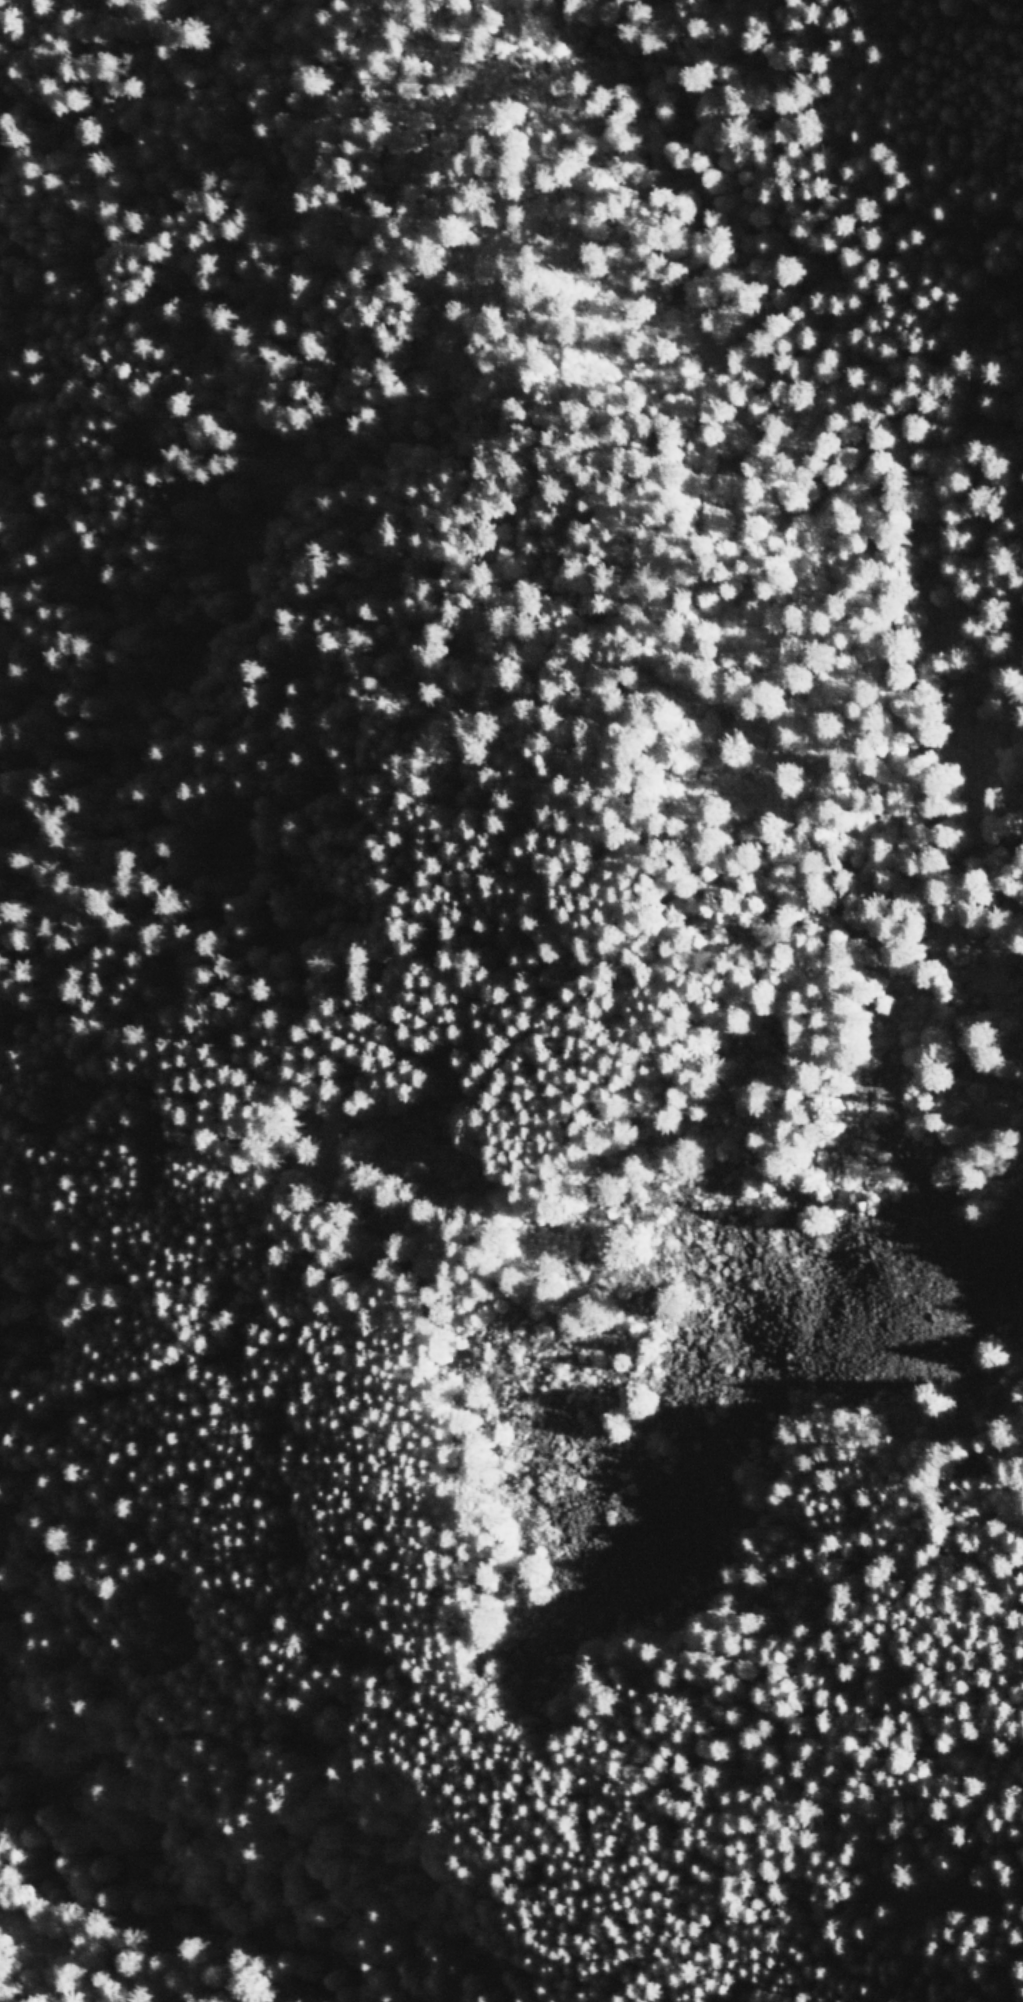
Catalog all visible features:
road: (840, 1780)

